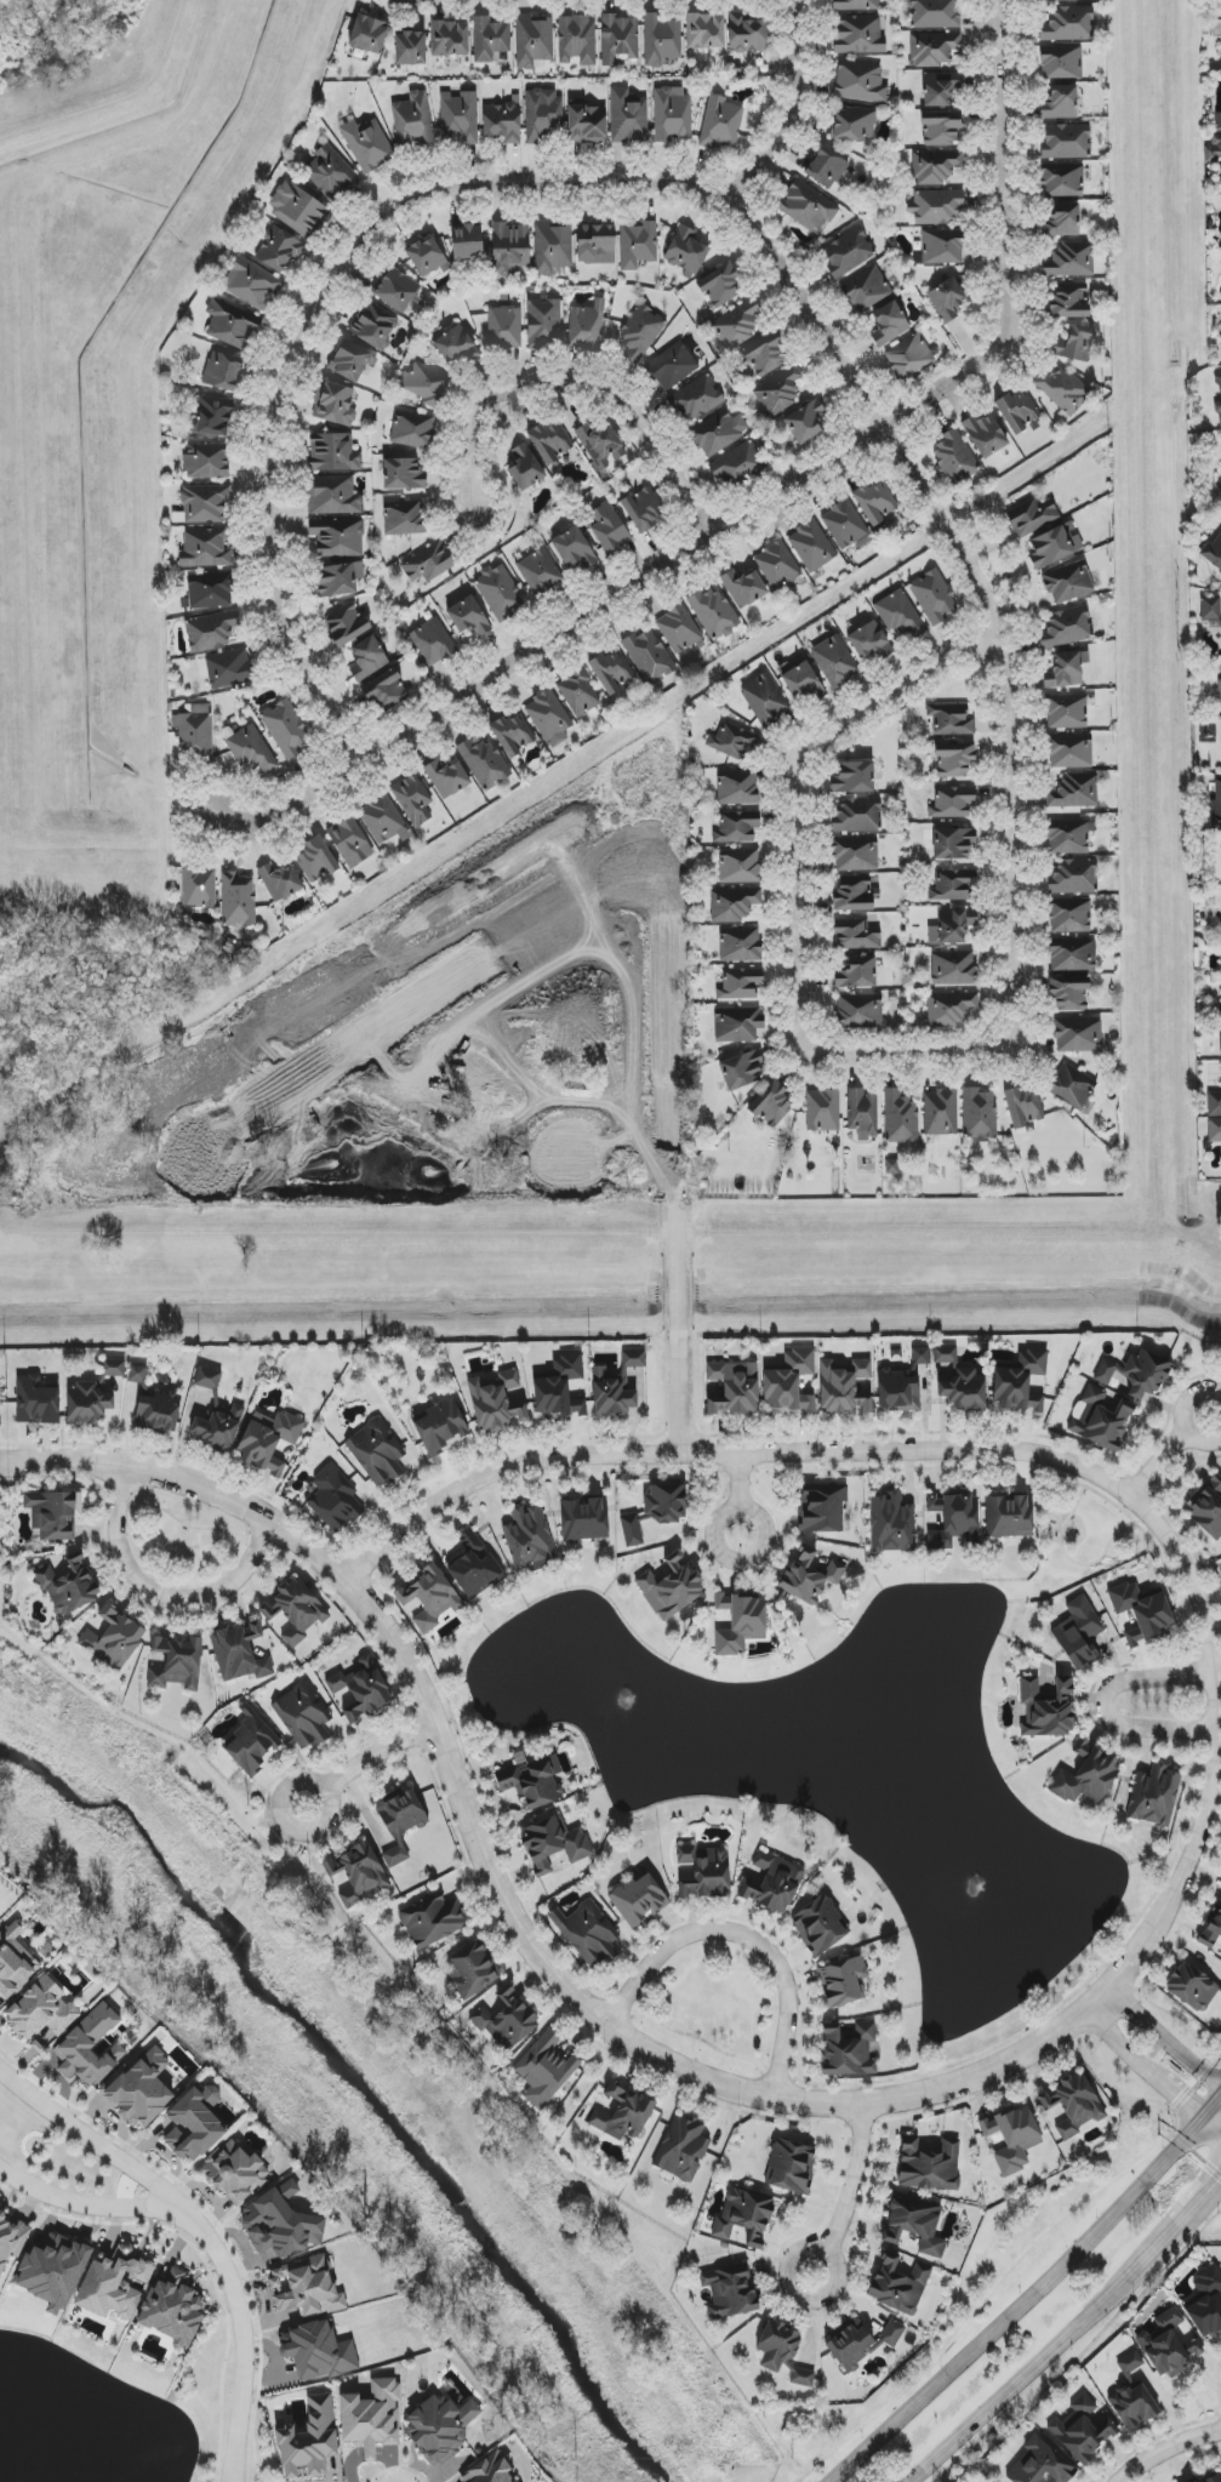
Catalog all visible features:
building: (1061, 0)
building: (857, 5)
building: (935, 13)
building: (1068, 24)
building: (704, 32)
building: (369, 34)
building: (747, 34)
building: (858, 34)
building: (450, 39)
building: (618, 39)
building: (491, 40)
building: (534, 40)
building: (577, 40)
building: (661, 40)
building: (410, 49)
building: (935, 49)
building: (1061, 62)
building: (860, 82)
building: (940, 87)
building: (1061, 103)
building: (672, 114)
building: (543, 115)
building: (628, 116)
building: (460, 118)
building: (413, 120)
building: (503, 121)
road: (800, 121)
building: (1217, 121)
building: (587, 124)
building: (720, 124)
building: (854, 124)
building: (941, 127)
building: (1066, 141)
building: (367, 144)
building: (1214, 148)
building: (936, 166)
building: (826, 167)
building: (327, 176)
building: (1063, 179)
road: (525, 204)
building: (808, 206)
building: (936, 206)
building: (298, 210)
building: (1062, 221)
building: (467, 243)
building: (594, 243)
building: (638, 245)
building: (940, 246)
building: (552, 247)
building: (279, 249)
building: (510, 249)
building: (685, 251)
building: (848, 252)
building: (427, 258)
building: (1071, 259)
building: (252, 284)
building: (720, 285)
building: (867, 289)
building: (396, 290)
building: (948, 297)
building: (1069, 301)
building: (544, 323)
building: (889, 324)
building: (373, 325)
building: (587, 325)
building: (737, 325)
building: (504, 327)
building: (230, 329)
building: (639, 332)
building: (452, 343)
building: (1075, 344)
building: (765, 355)
building: (908, 356)
building: (349, 363)
building: (673, 366)
building: (222, 371)
road: (584, 382)
building: (424, 383)
building: (780, 390)
building: (1063, 390)
building: (1217, 390)
building: (697, 399)
building: (335, 404)
building: (1020, 410)
building: (212, 417)
building: (806, 421)
building: (413, 430)
building: (719, 432)
building: (985, 434)
building: (549, 441)
building: (601, 445)
building: (333, 453)
building: (953, 457)
building: (206, 461)
building: (525, 467)
building: (738, 467)
building: (403, 474)
building: (335, 496)
building: (875, 502)
building: (205, 503)
road: (753, 509)
building: (640, 510)
building: (1032, 517)
building: (404, 518)
building: (845, 526)
building: (609, 529)
building: (337, 537)
building: (811, 546)
building: (1055, 546)
building: (205, 548)
building: (574, 549)
building: (1214, 552)
building: (427, 564)
building: (778, 565)
building: (540, 572)
building: (338, 580)
building: (1068, 582)
building: (744, 588)
building: (210, 590)
building: (501, 593)
building: (934, 597)
building: (1211, 611)
building: (715, 614)
building: (468, 616)
building: (901, 616)
building: (346, 624)
building: (1067, 628)
building: (679, 629)
building: (211, 631)
building: (869, 641)
building: (433, 643)
building: (649, 655)
building: (367, 658)
building: (833, 662)
building: (228, 668)
building: (1066, 669)
building: (610, 671)
building: (1220, 680)
building: (801, 683)
building: (386, 691)
building: (577, 694)
building: (765, 701)
building: (1066, 711)
building: (549, 718)
building: (951, 720)
building: (286, 729)
building: (195, 732)
building: (512, 735)
building: (736, 741)
building: (251, 751)
building: (1069, 752)
building: (954, 759)
building: (485, 764)
building: (854, 777)
building: (447, 778)
building: (737, 787)
road: (793, 789)
building: (1074, 792)
building: (413, 800)
building: (952, 801)
building: (1216, 803)
building: (857, 815)
building: (384, 821)
building: (737, 827)
building: (1069, 835)
building: (350, 841)
building: (953, 843)
building: (855, 854)
building: (316, 860)
building: (740, 866)
building: (1074, 875)
building: (280, 881)
building: (952, 884)
building: (198, 889)
building: (855, 894)
building: (238, 898)
building: (734, 903)
building: (1069, 914)
building: (952, 926)
building: (856, 934)
building: (741, 945)
road: (1014, 949)
building: (1073, 954)
building: (953, 966)
building: (857, 972)
building: (741, 983)
building: (951, 1008)
building: (860, 1011)
building: (1219, 1014)
building: (737, 1025)
building: (1078, 1035)
building: (1220, 1048)
building: (741, 1071)
building: (1069, 1088)
building: (1215, 1101)
building: (772, 1105)
building: (1025, 1108)
building: (823, 1111)
building: (862, 1113)
building: (941, 1113)
building: (978, 1114)
building: (900, 1118)
building: (1214, 1129)
building: (891, 1166)
road: (678, 1331)
building: (633, 1359)
building: (113, 1368)
building: (137, 1374)
building: (1105, 1374)
building: (1146, 1374)
building: (1020, 1381)
building: (960, 1382)
building: (789, 1383)
building: (905, 1385)
building: (734, 1387)
building: (844, 1387)
building: (559, 1388)
building: (612, 1394)
building: (36, 1402)
building: (496, 1402)
building: (87, 1403)
building: (158, 1411)
building: (216, 1416)
building: (1101, 1417)
building: (440, 1426)
building: (268, 1440)
road: (829, 1451)
road: (1171, 1451)
building: (375, 1453)
road: (1026, 1467)
road: (741, 1494)
building: (332, 1499)
building: (1208, 1507)
building: (821, 1508)
building: (655, 1511)
building: (53, 1514)
building: (1009, 1517)
building: (954, 1519)
building: (584, 1520)
building: (891, 1524)
building: (529, 1539)
road: (1071, 1559)
building: (475, 1569)
building: (810, 1575)
building: (671, 1587)
road: (147, 1596)
building: (428, 1598)
building: (295, 1610)
building: (1141, 1611)
building: (741, 1624)
building: (1079, 1633)
building: (113, 1639)
building: (241, 1653)
building: (177, 1664)
road: (1216, 1672)
building: (361, 1689)
road: (1103, 1706)
building: (1046, 1708)
building: (302, 1716)
fountain: (644, 1729)
building: (250, 1747)
road: (372, 1759)
building: (1086, 1776)
building: (531, 1784)
building: (1154, 1796)
building: (400, 1821)
building: (553, 1844)
building: (359, 1872)
building: (704, 1872)
building: (771, 1882)
fountain: (988, 1895)
building: (638, 1899)
building: (432, 1921)
building: (818, 1925)
building: (1211, 1927)
road: (746, 1935)
building: (13, 1962)
building: (470, 1970)
building: (843, 1982)
building: (1192, 1987)
building: (42, 2012)
building: (507, 2019)
road: (600, 2021)
road: (1169, 2036)
road: (700, 2038)
building: (90, 2048)
building: (848, 2048)
road: (1146, 2067)
building: (544, 2070)
building: (141, 2089)
traffic signals: (1176, 2098)
building: (1074, 2102)
road: (1211, 2112)
building: (623, 2113)
road: (1211, 2130)
building: (1012, 2138)
building: (681, 2150)
road: (1192, 2163)
building: (929, 2164)
building: (791, 2167)
building: (235, 2172)
traffic signals: (1216, 2181)
road: (850, 2193)
road: (167, 2196)
road: (1198, 2201)
building: (744, 2218)
building: (915, 2223)
building: (281, 2224)
building: (11, 2239)
building: (52, 2271)
road: (1004, 2275)
building: (898, 2283)
building: (113, 2284)
building: (306, 2288)
building: (729, 2292)
building: (1206, 2304)
road: (1022, 2306)
building: (172, 2309)
road: (244, 2336)
building: (860, 2343)
building: (1170, 2345)
building: (318, 2351)
building: (782, 2352)
road: (1045, 2355)
building: (1132, 2396)
building: (372, 2417)
building: (440, 2427)
building: (1083, 2429)
building: (309, 2438)
road: (1168, 2449)
building: (1039, 2465)
building: (489, 2470)
building: (1210, 2478)

